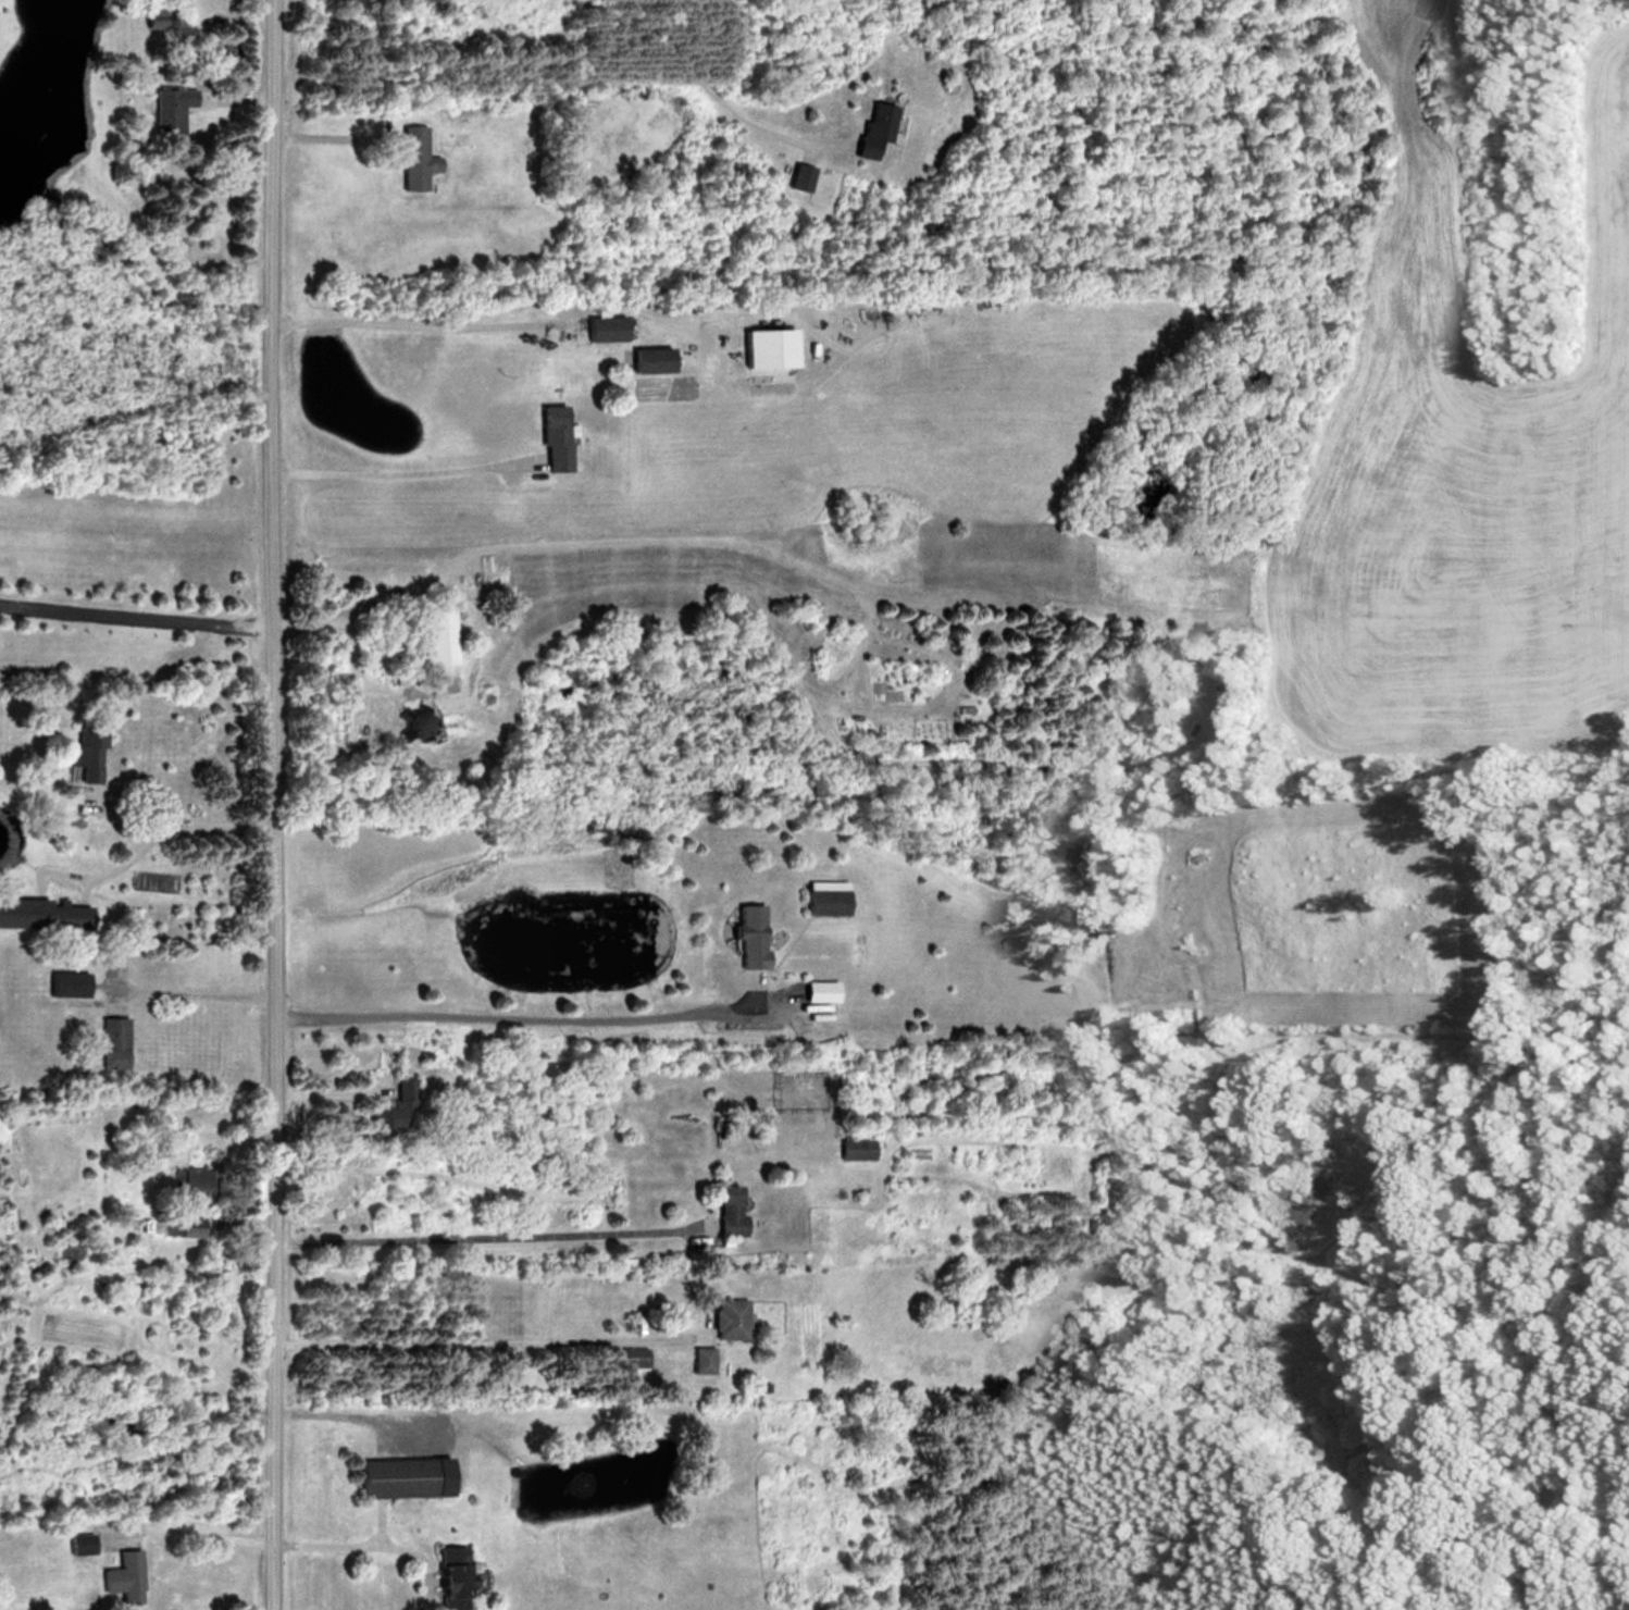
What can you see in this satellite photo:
road: (688, 70)
building: (166, 107)
building: (868, 127)
building: (411, 157)
road: (408, 322)
building: (600, 327)
building: (645, 360)
building: (551, 436)
road: (396, 470)
road: (135, 615)
building: (88, 751)
road: (275, 804)
road: (152, 825)
building: (821, 897)
building: (72, 915)
building: (744, 936)
building: (74, 982)
road: (194, 991)
road: (530, 1015)
building: (117, 1042)
building: (402, 1095)
building: (850, 1149)
building: (198, 1176)
building: (723, 1210)
road: (489, 1236)
building: (723, 1318)
road: (488, 1340)
building: (627, 1357)
building: (695, 1359)
building: (395, 1477)
road: (378, 1541)
building: (75, 1543)
building: (120, 1576)
building: (446, 1577)

